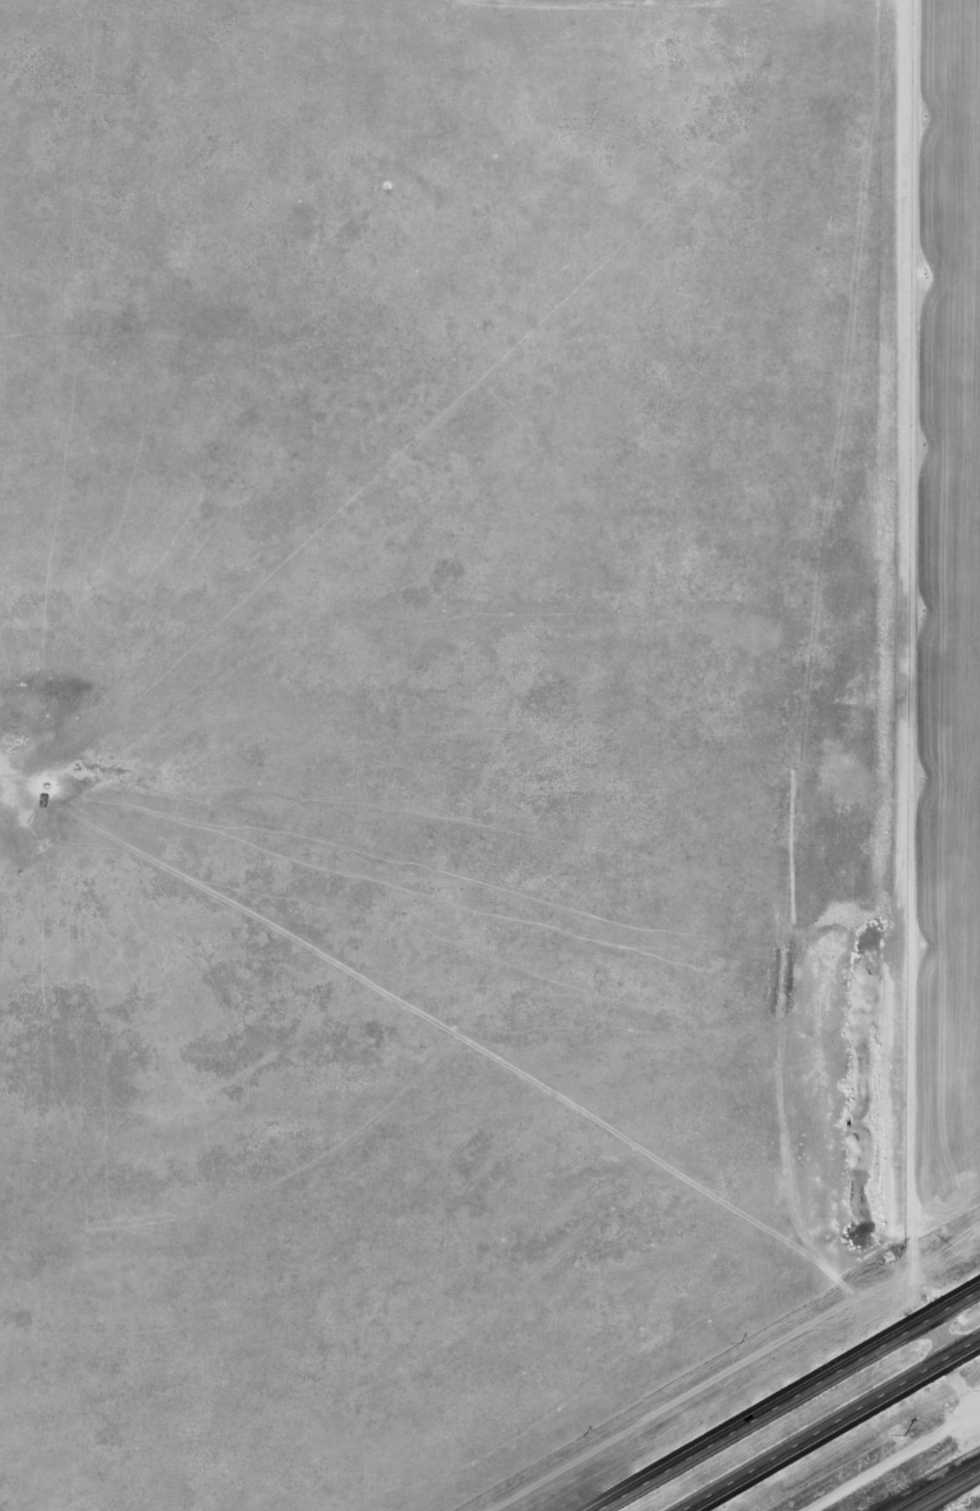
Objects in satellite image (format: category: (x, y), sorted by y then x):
road: (795, 1404)
road: (840, 1430)
railway: (940, 1488)
railway: (951, 1494)

